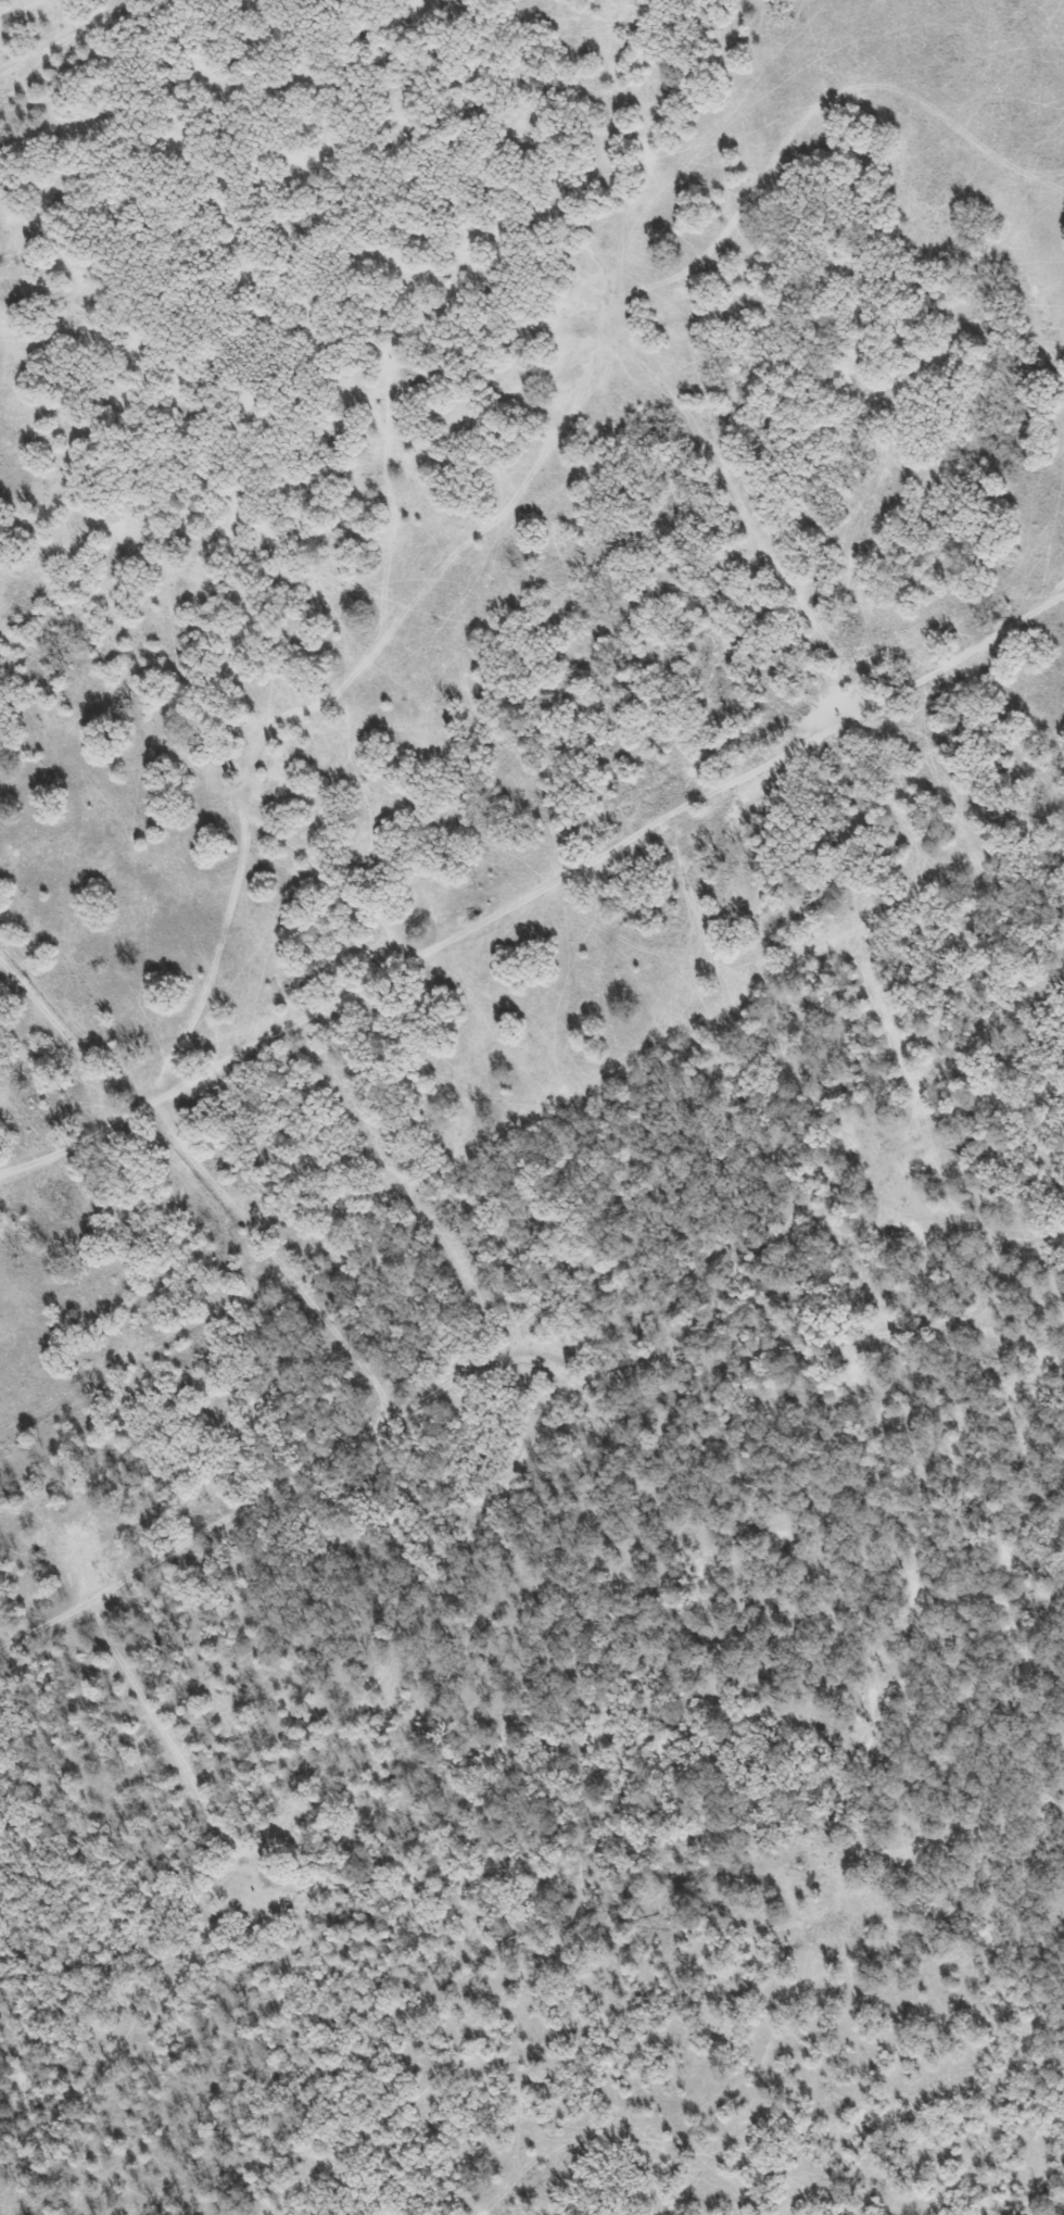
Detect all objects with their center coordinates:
road: (1056, 595)
road: (329, 886)
road: (535, 892)

